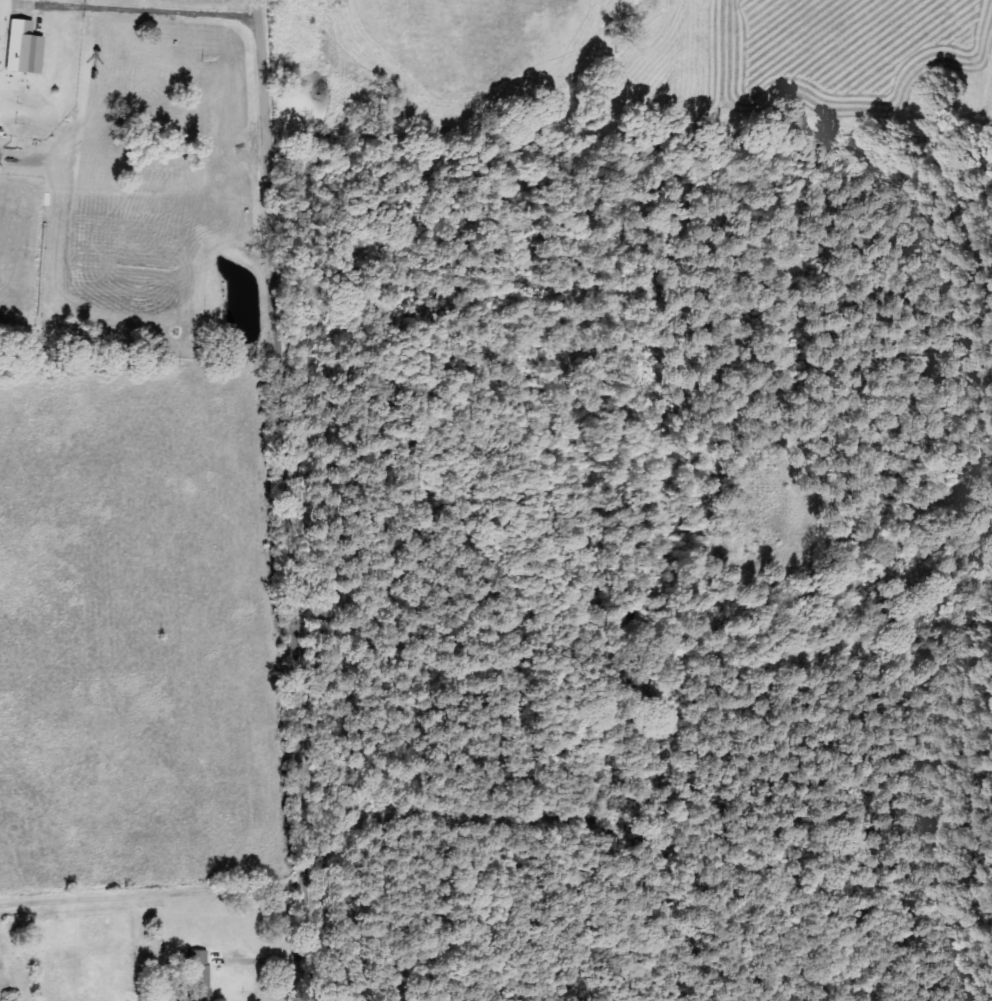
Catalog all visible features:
road: (149, 12)
building: (23, 49)
road: (287, 500)
building: (198, 974)

